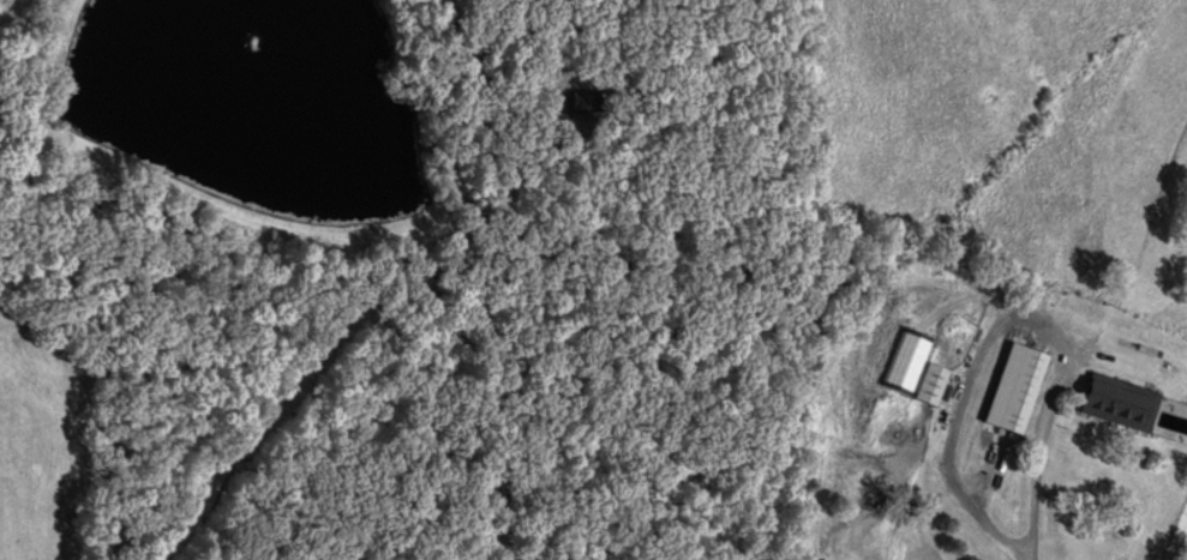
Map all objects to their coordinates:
building: (931, 383)
building: (1023, 390)
building: (1119, 401)

